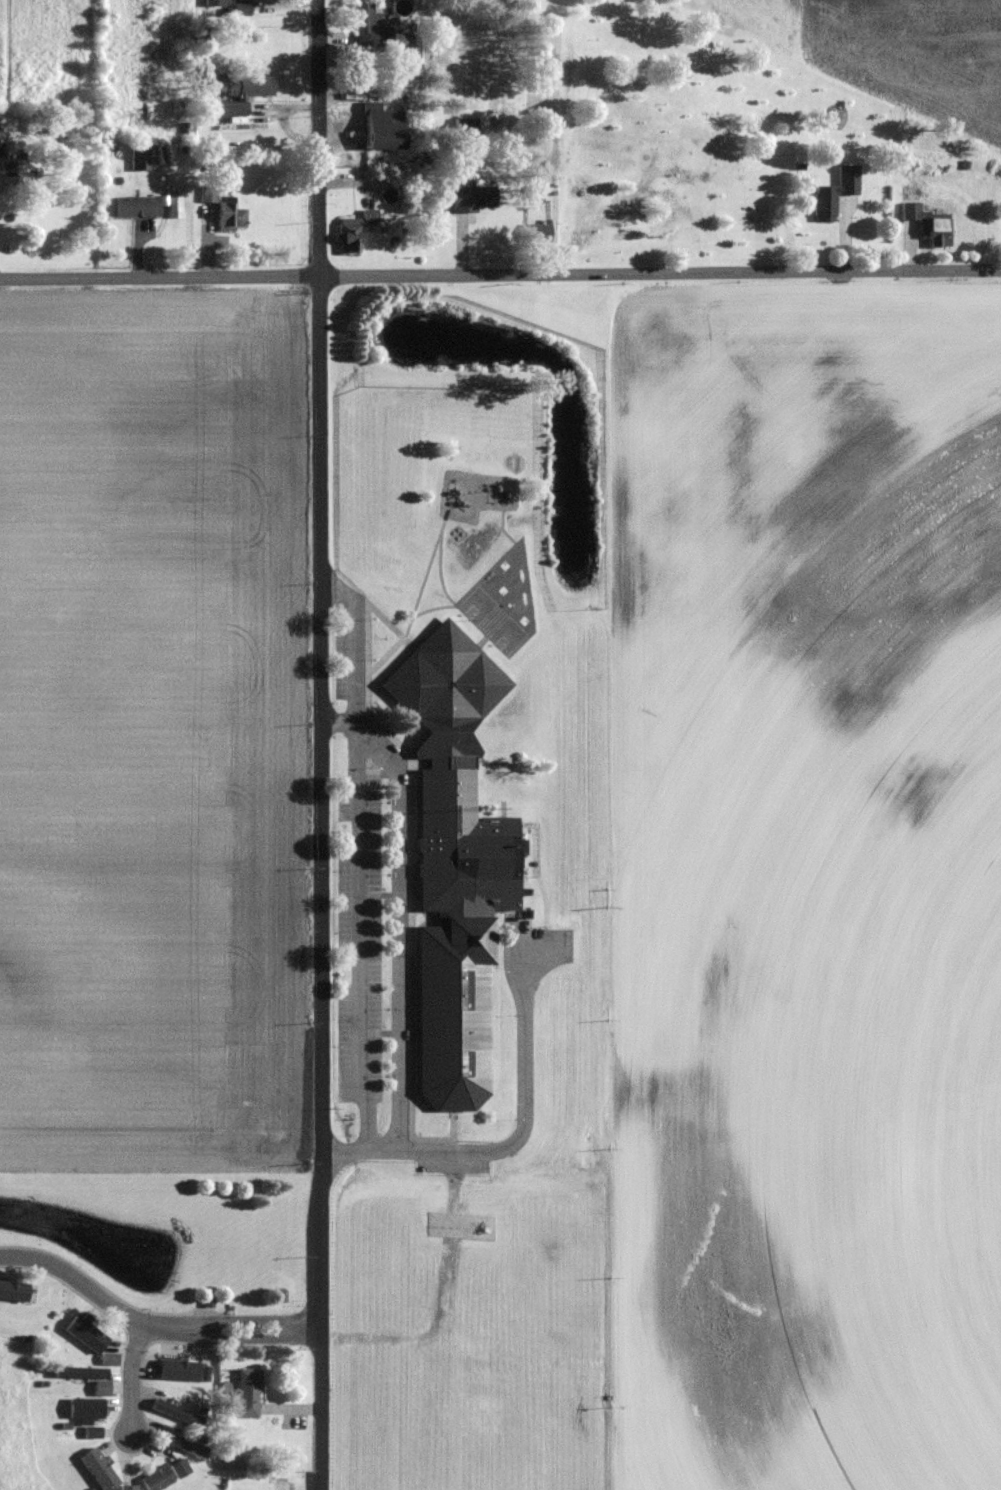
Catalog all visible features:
building: (216, 4)
building: (243, 7)
building: (371, 25)
building: (252, 86)
building: (229, 108)
building: (467, 126)
building: (385, 127)
building: (141, 158)
building: (836, 192)
building: (210, 193)
building: (476, 198)
building: (139, 205)
building: (233, 216)
building: (930, 224)
building: (356, 230)
building: (540, 232)
road: (661, 272)
road: (161, 276)
park: (382, 469)
road: (325, 583)
road: (339, 724)
road: (361, 729)
road: (321, 744)
road: (358, 837)
building: (456, 863)
parking lot: (357, 864)
crop: (805, 881)
road: (399, 936)
road: (542, 945)
parking lot: (531, 957)
road: (511, 962)
road: (369, 1126)
road: (490, 1151)
road: (77, 1280)
building: (14, 1291)
road: (235, 1319)
building: (87, 1334)
road: (234, 1338)
building: (111, 1359)
building: (186, 1371)
building: (88, 1377)
road: (133, 1378)
building: (250, 1393)
building: (88, 1409)
building: (178, 1413)
building: (184, 1443)
building: (182, 1468)
building: (101, 1469)
building: (159, 1479)
building: (129, 1488)

